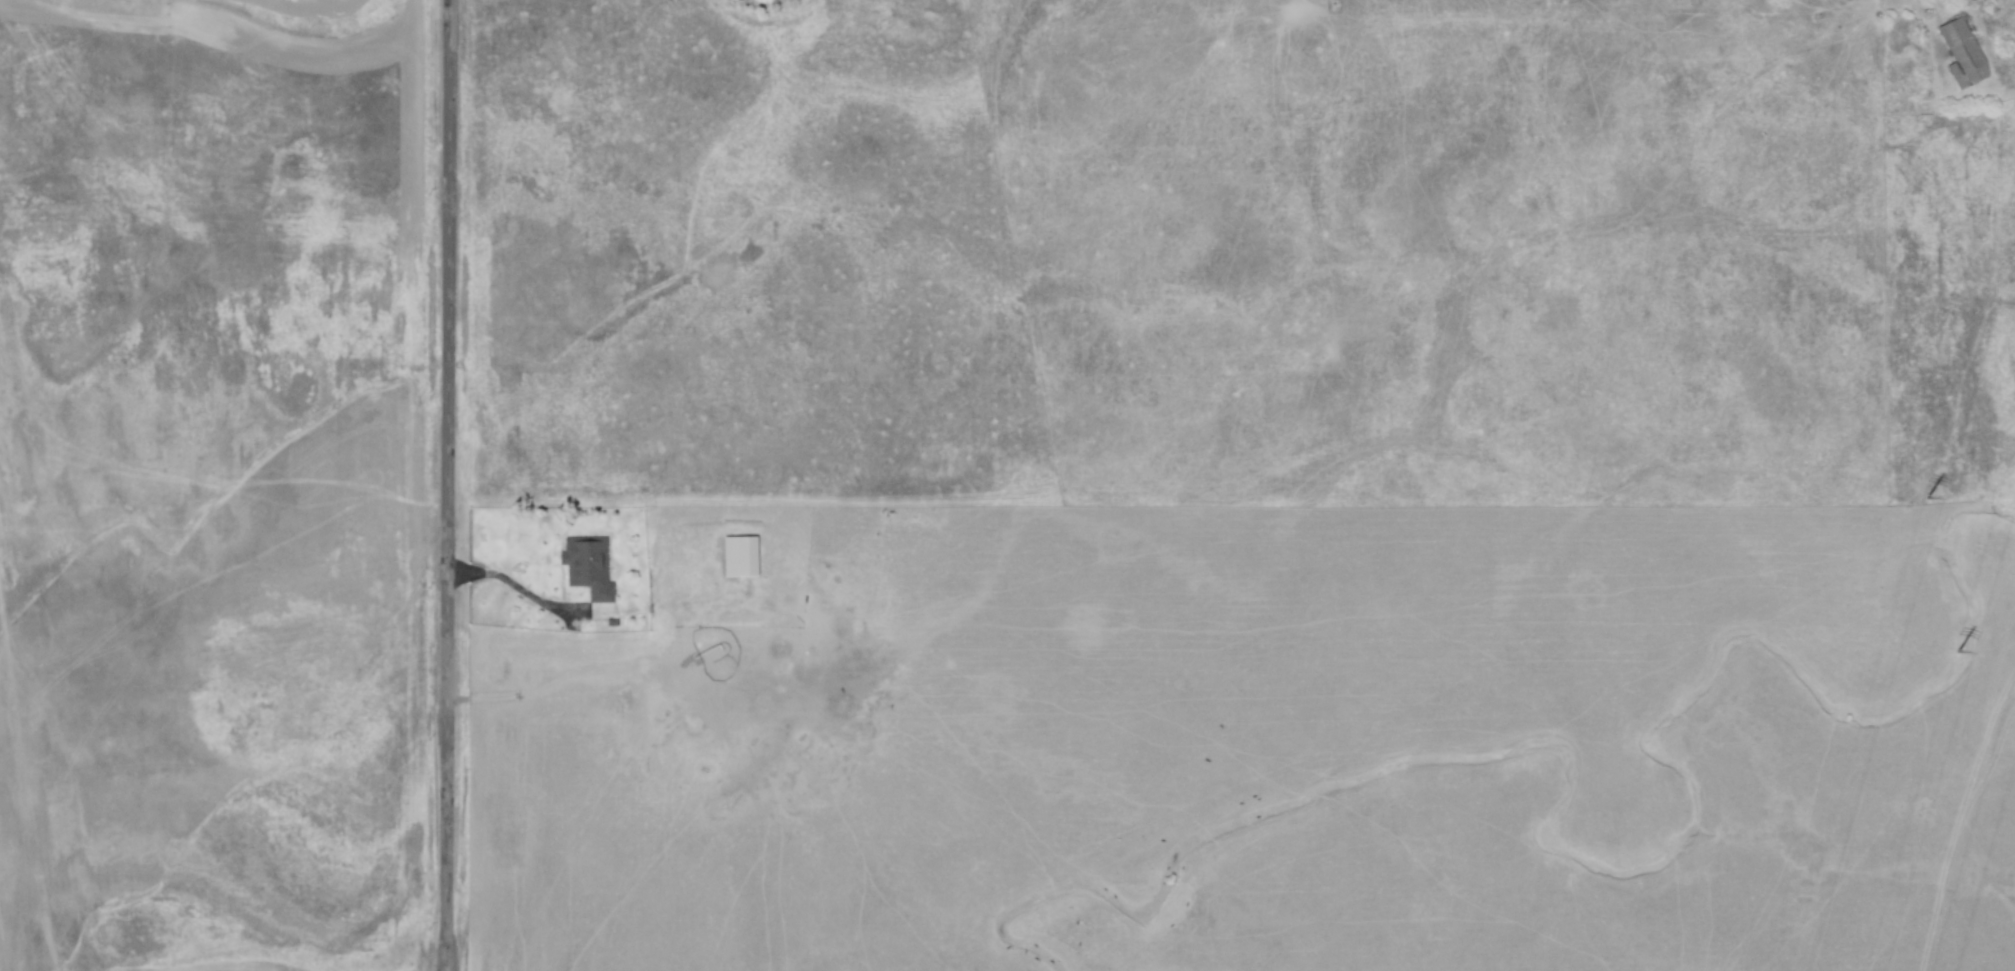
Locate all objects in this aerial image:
building: (1961, 53)
road: (449, 485)
building: (739, 556)
building: (586, 566)
road: (526, 592)

